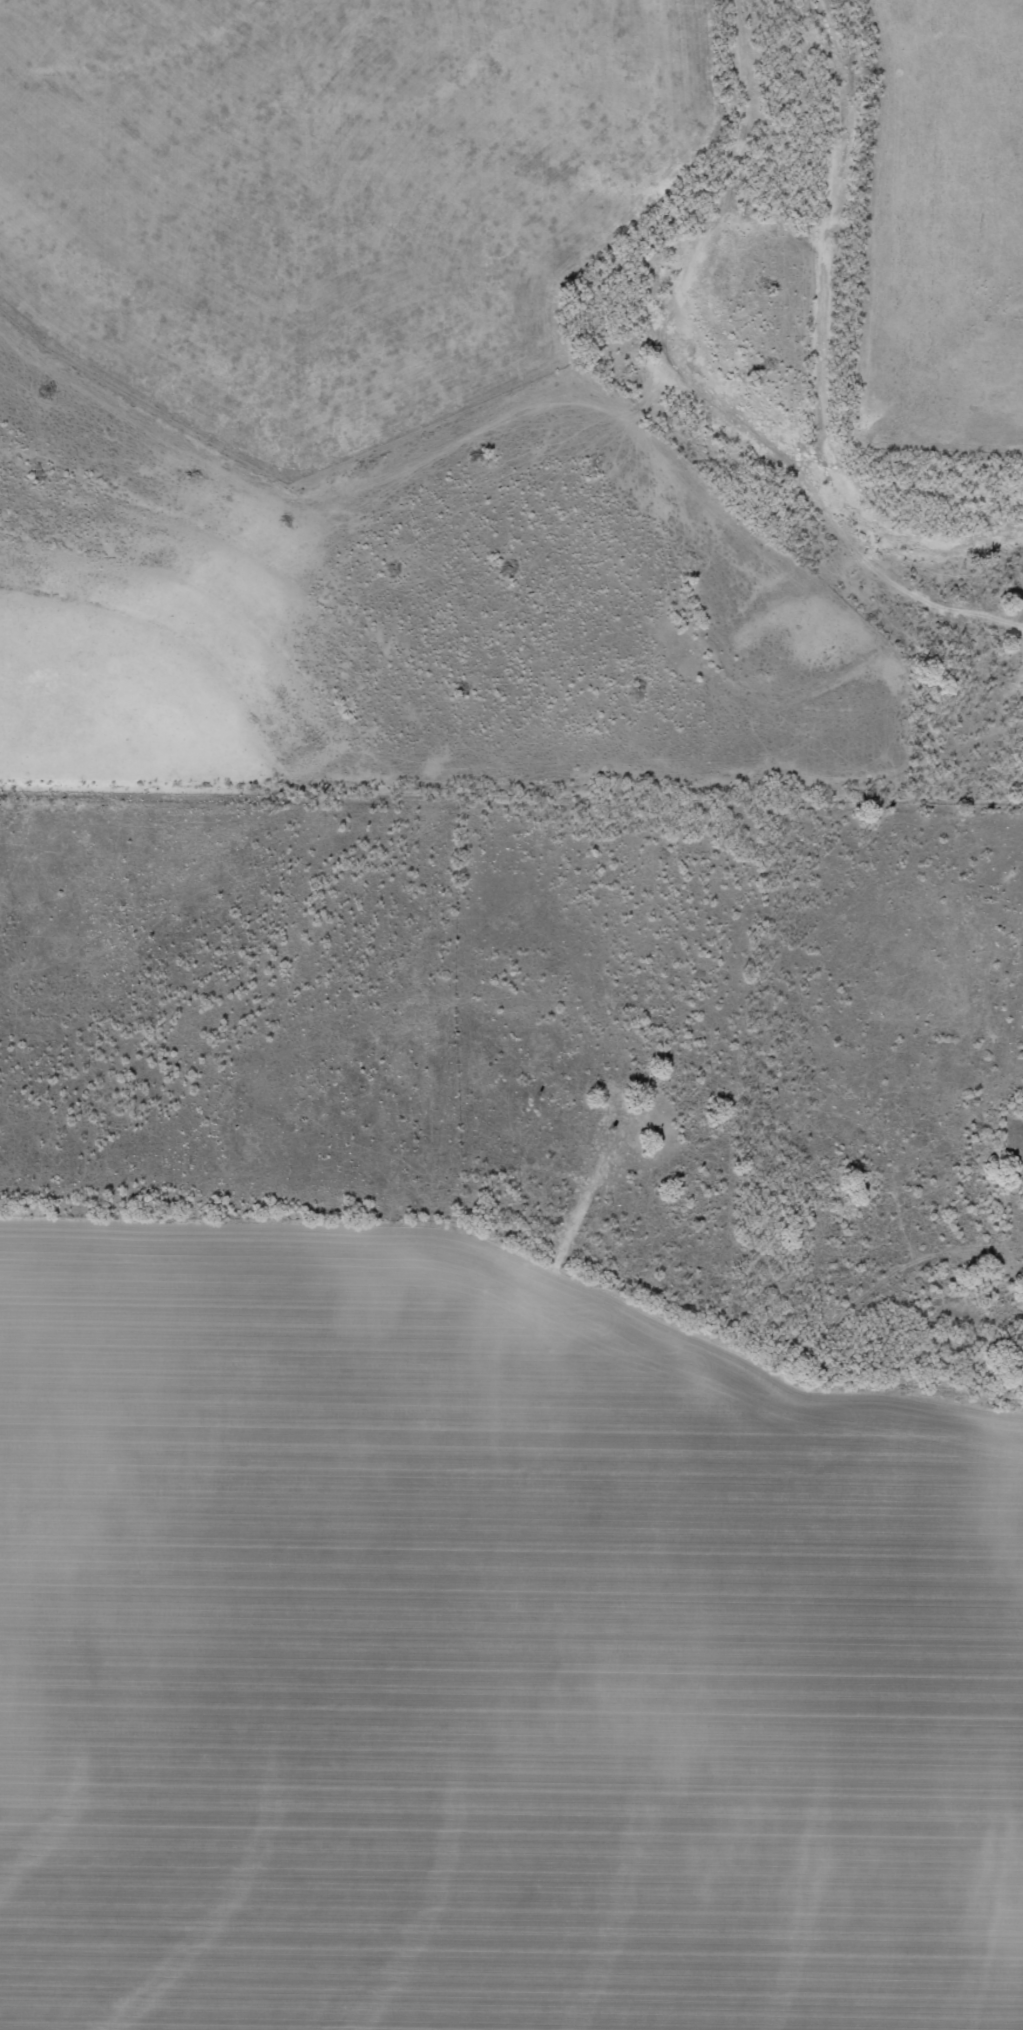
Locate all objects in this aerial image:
road: (511, 821)

